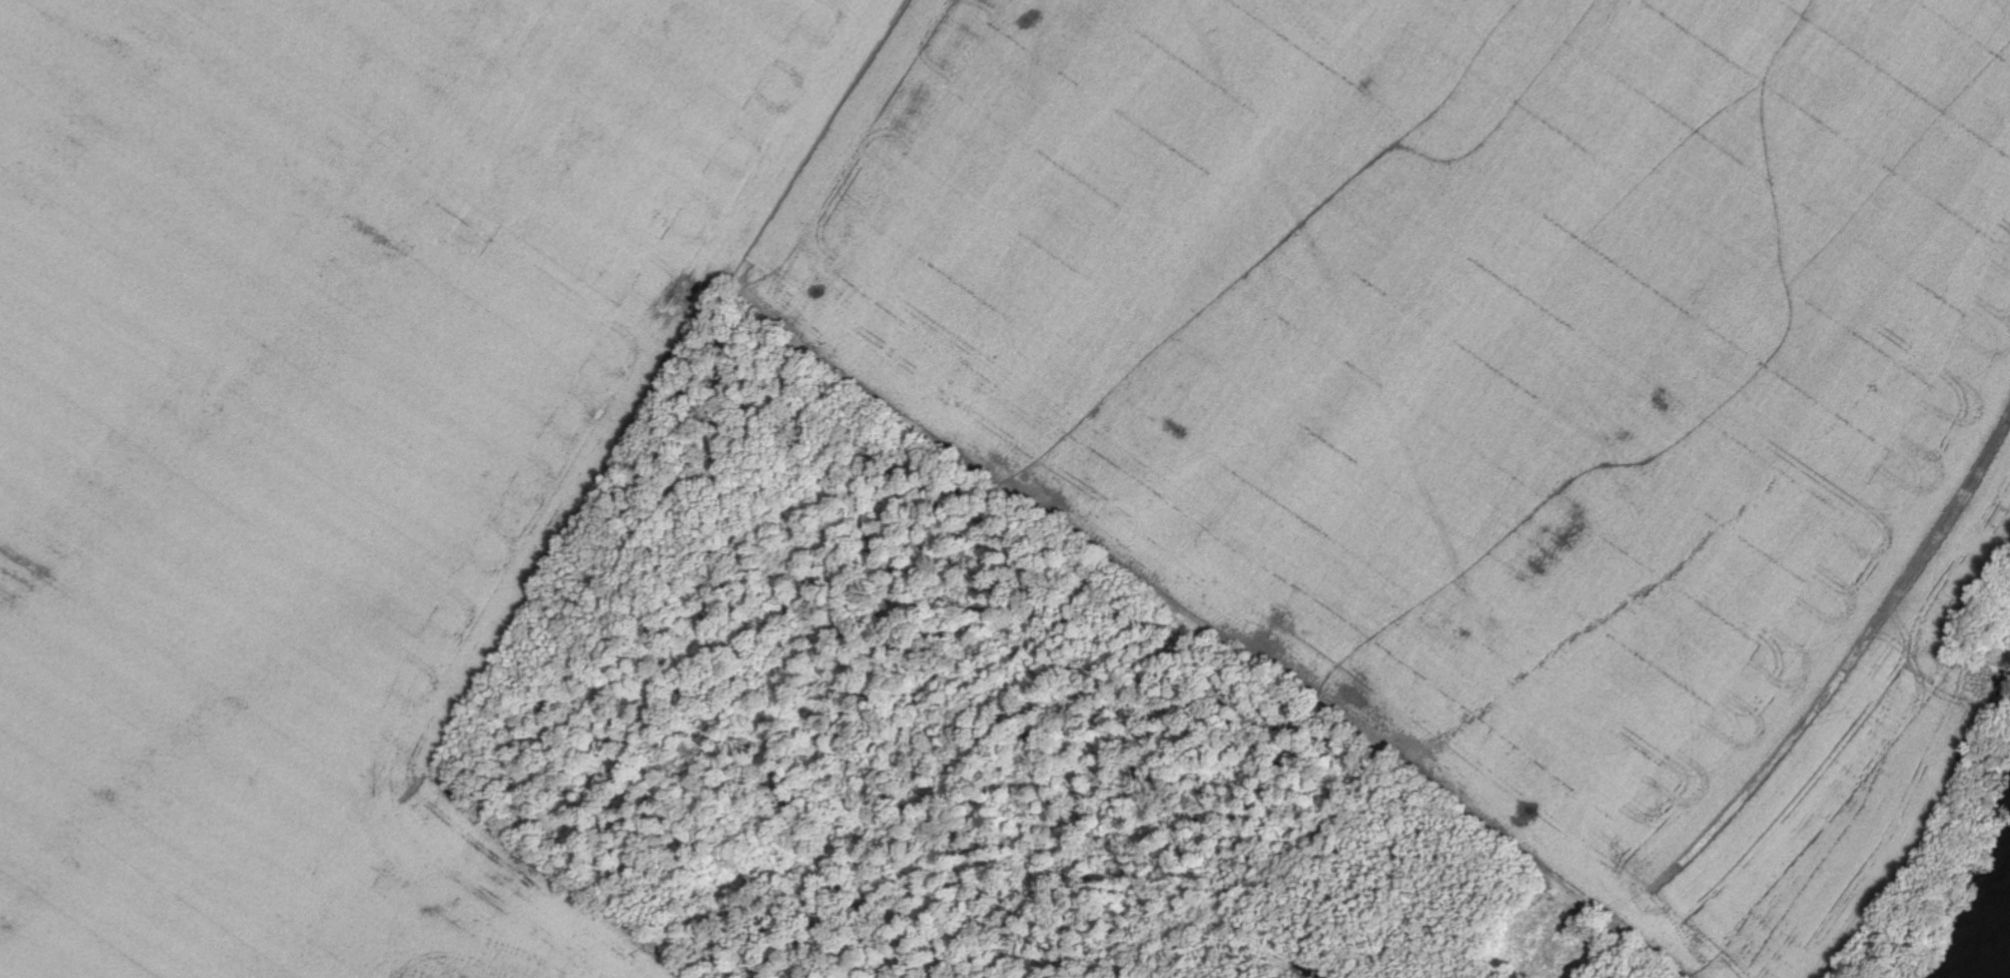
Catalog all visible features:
river: (2004, 968)

